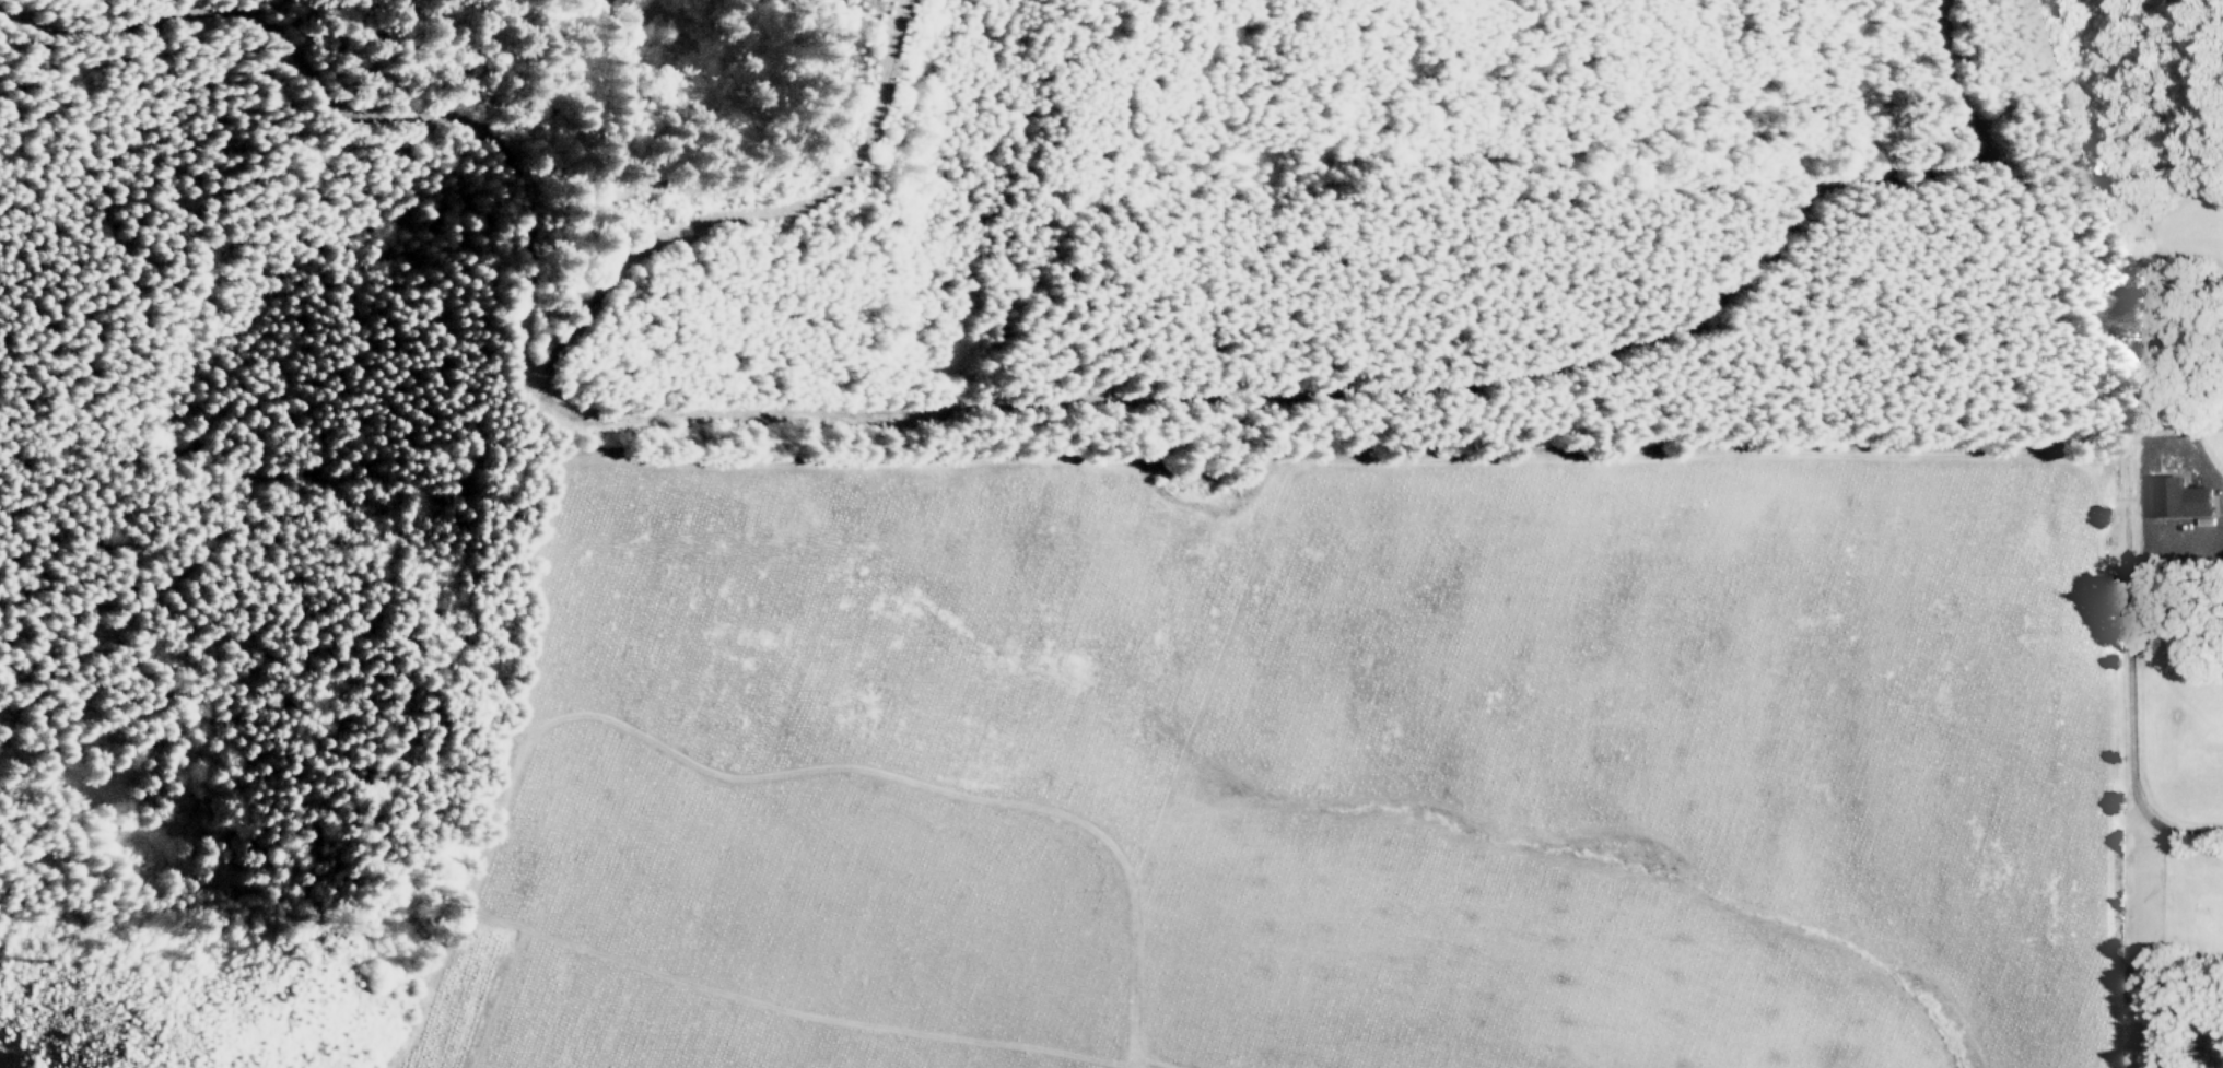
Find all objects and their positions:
road: (1065, 390)
building: (2162, 494)
building: (2196, 500)
road: (2129, 694)
crop: (1343, 751)
road: (523, 752)
road: (498, 999)
crop: (692, 1024)
road: (1127, 1066)
road: (1139, 1066)

